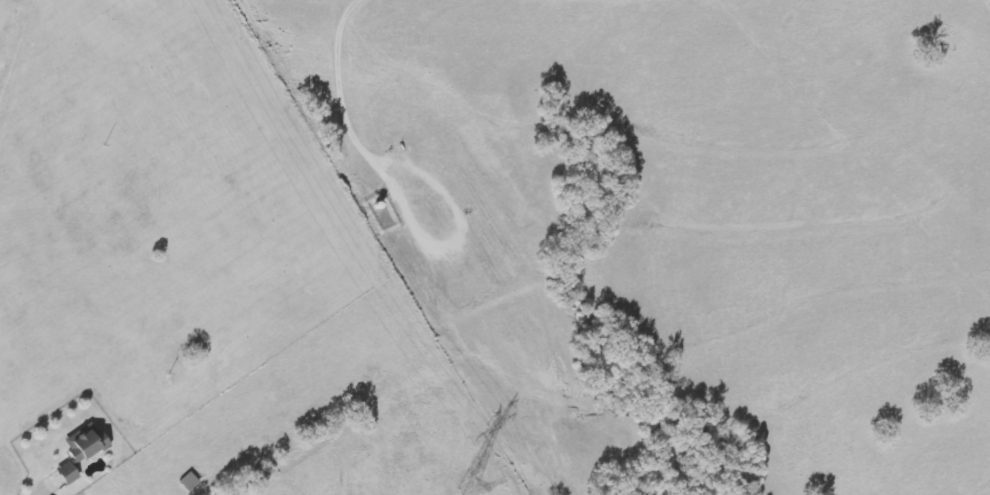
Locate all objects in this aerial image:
building: (86, 446)
building: (66, 474)
power tower: (463, 486)

